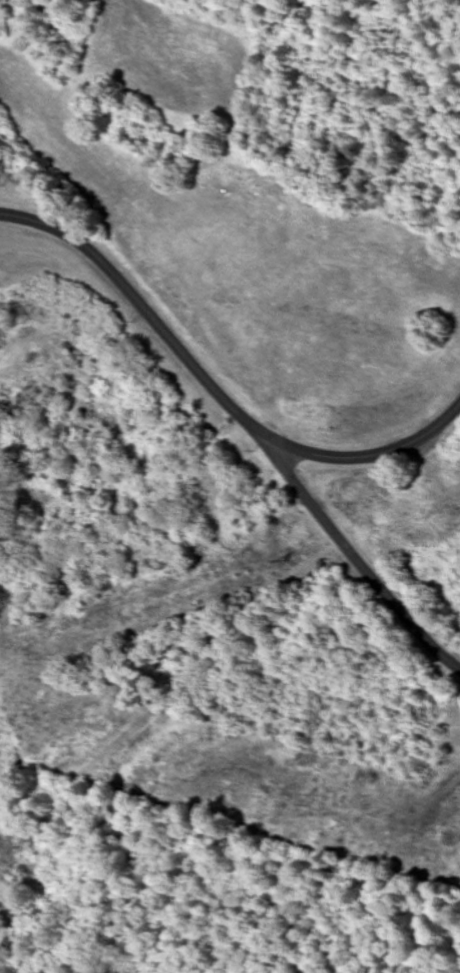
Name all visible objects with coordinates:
road: (215, 390)
road: (361, 560)
power tower: (308, 802)

